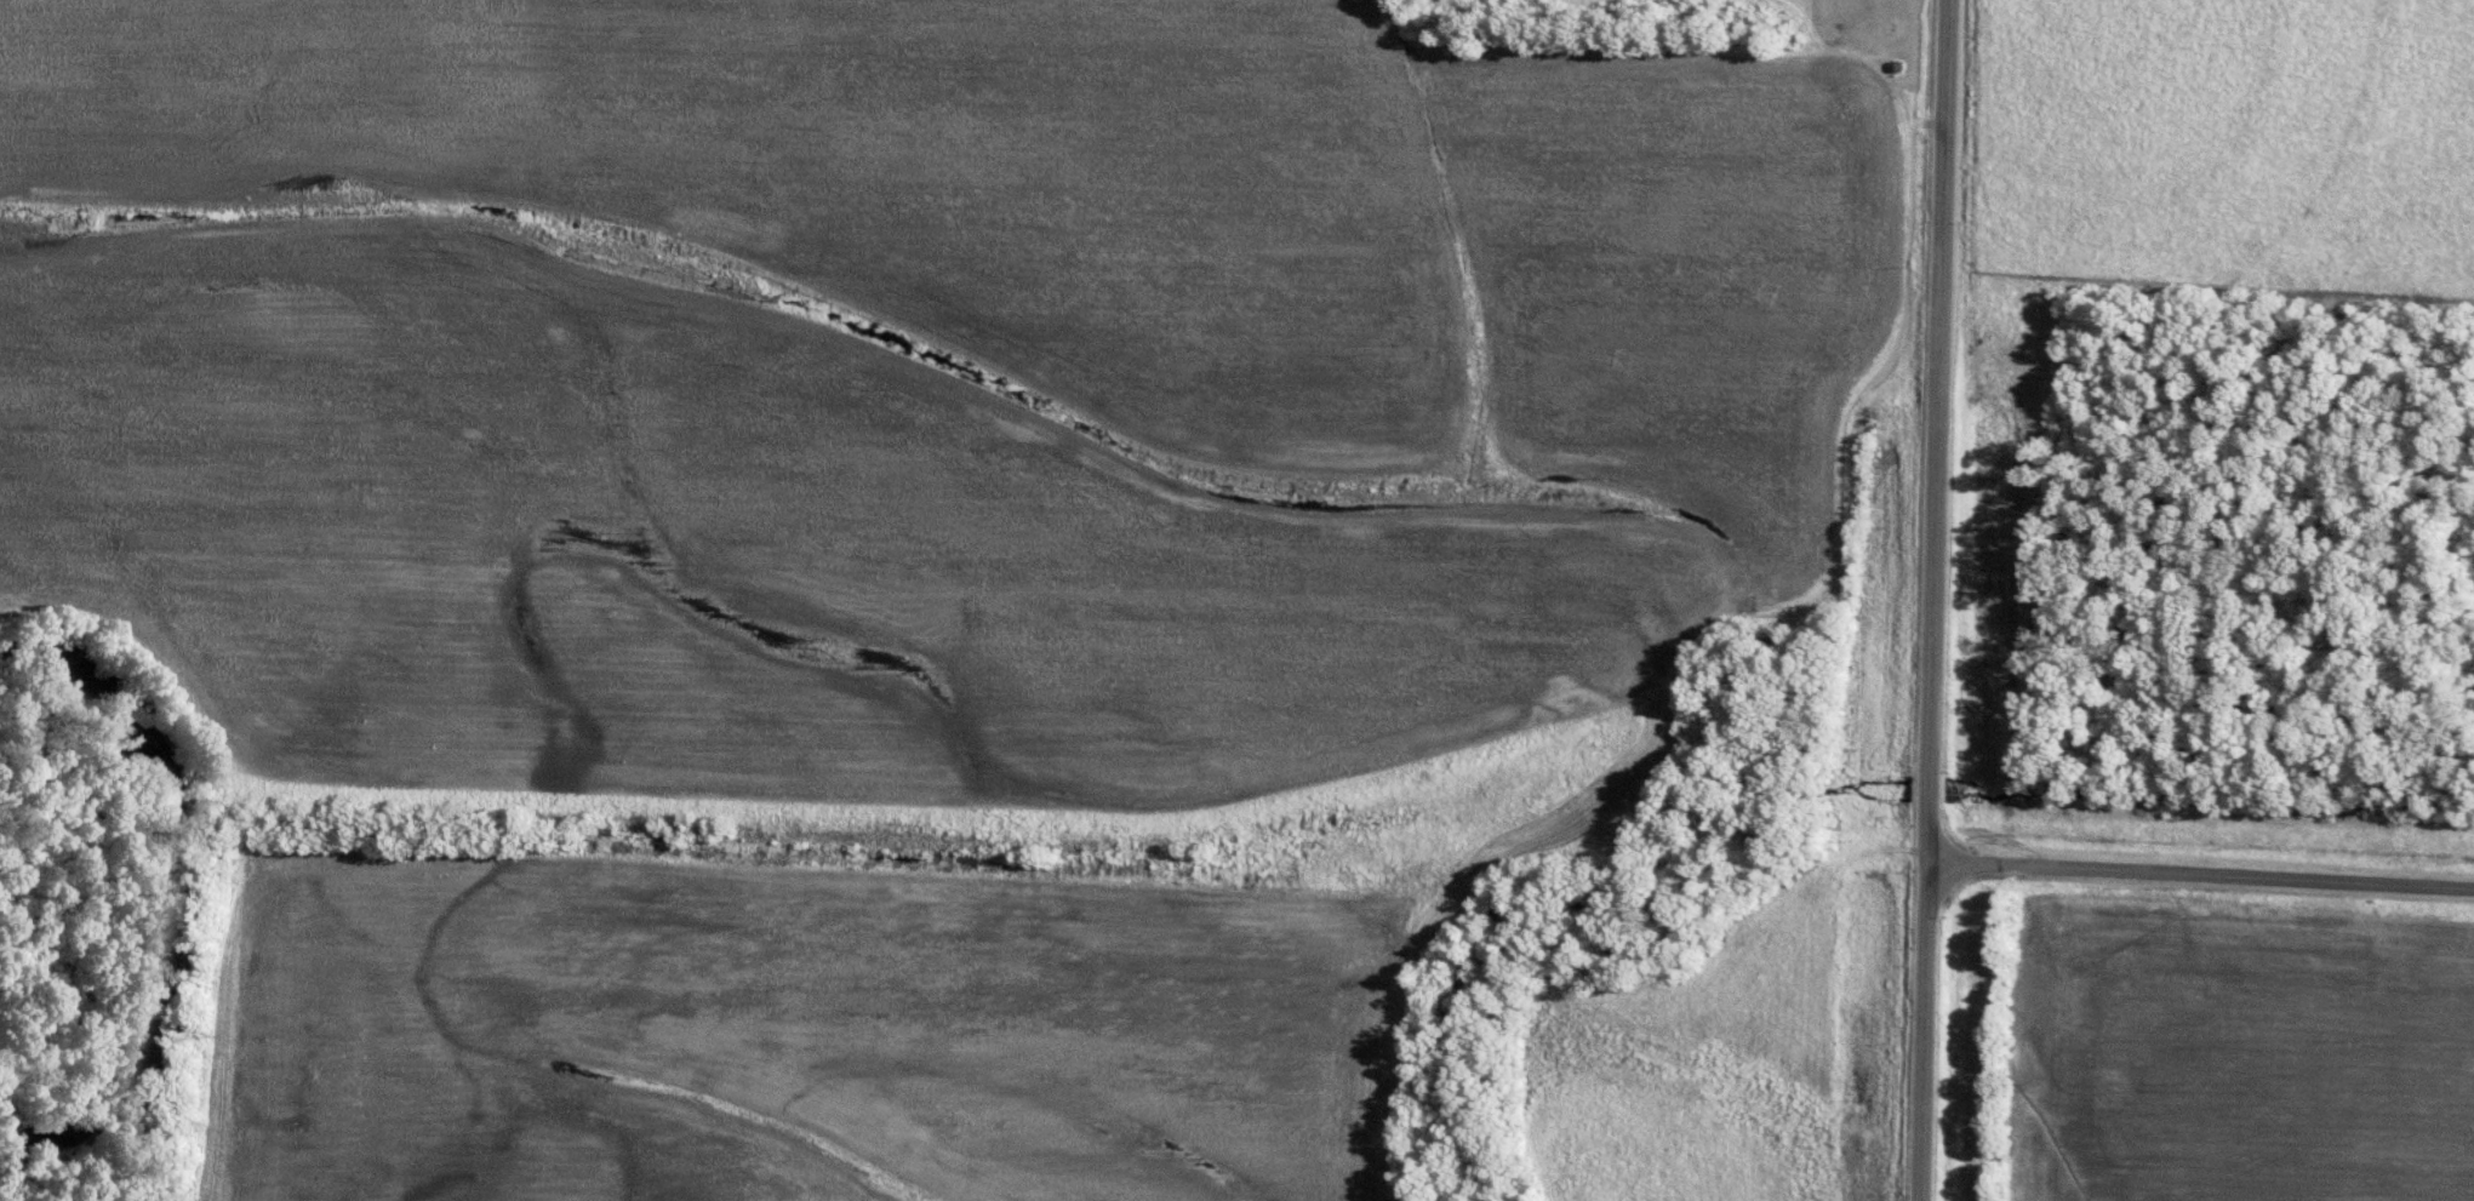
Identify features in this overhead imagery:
road: (1933, 600)
road: (2202, 869)
river: (194, 902)

